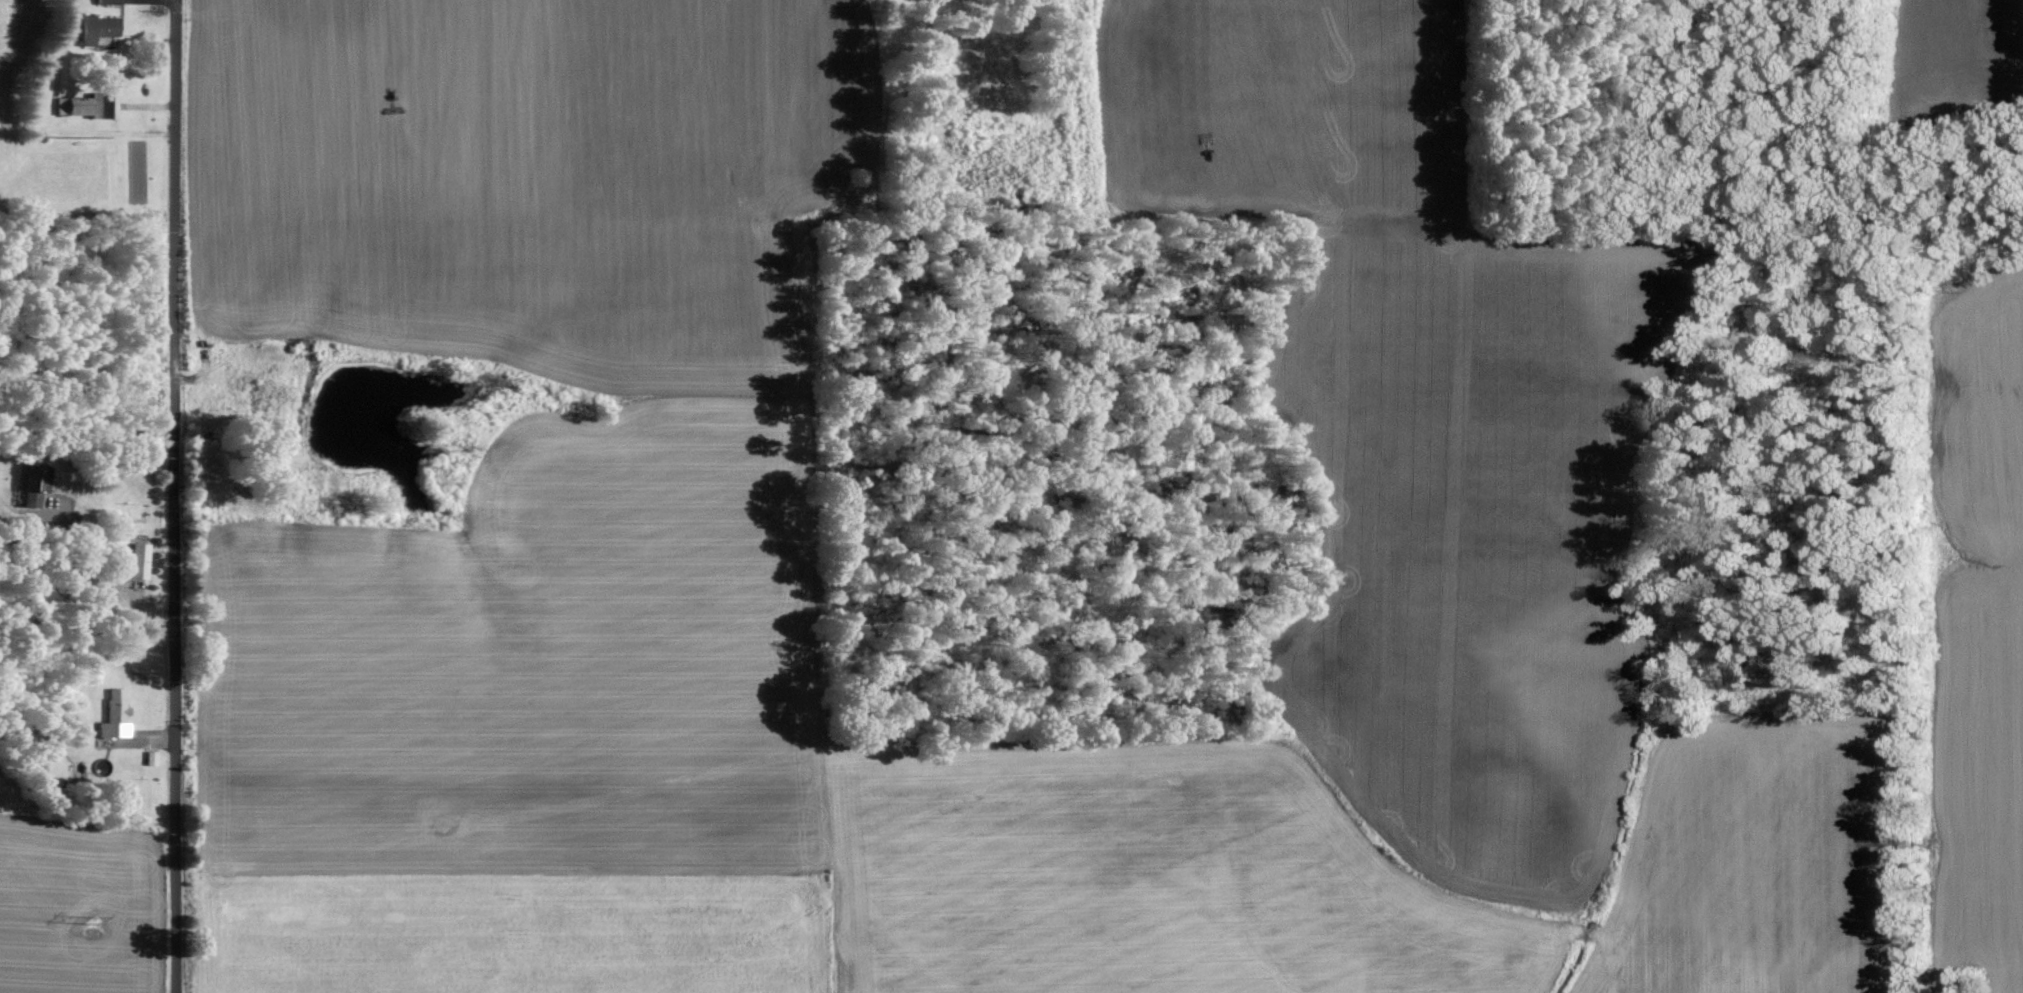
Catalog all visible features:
building: (98, 28)
building: (86, 106)
building: (34, 484)
road: (171, 496)
building: (139, 559)
road: (100, 583)
building: (116, 711)
power tower: (88, 926)

